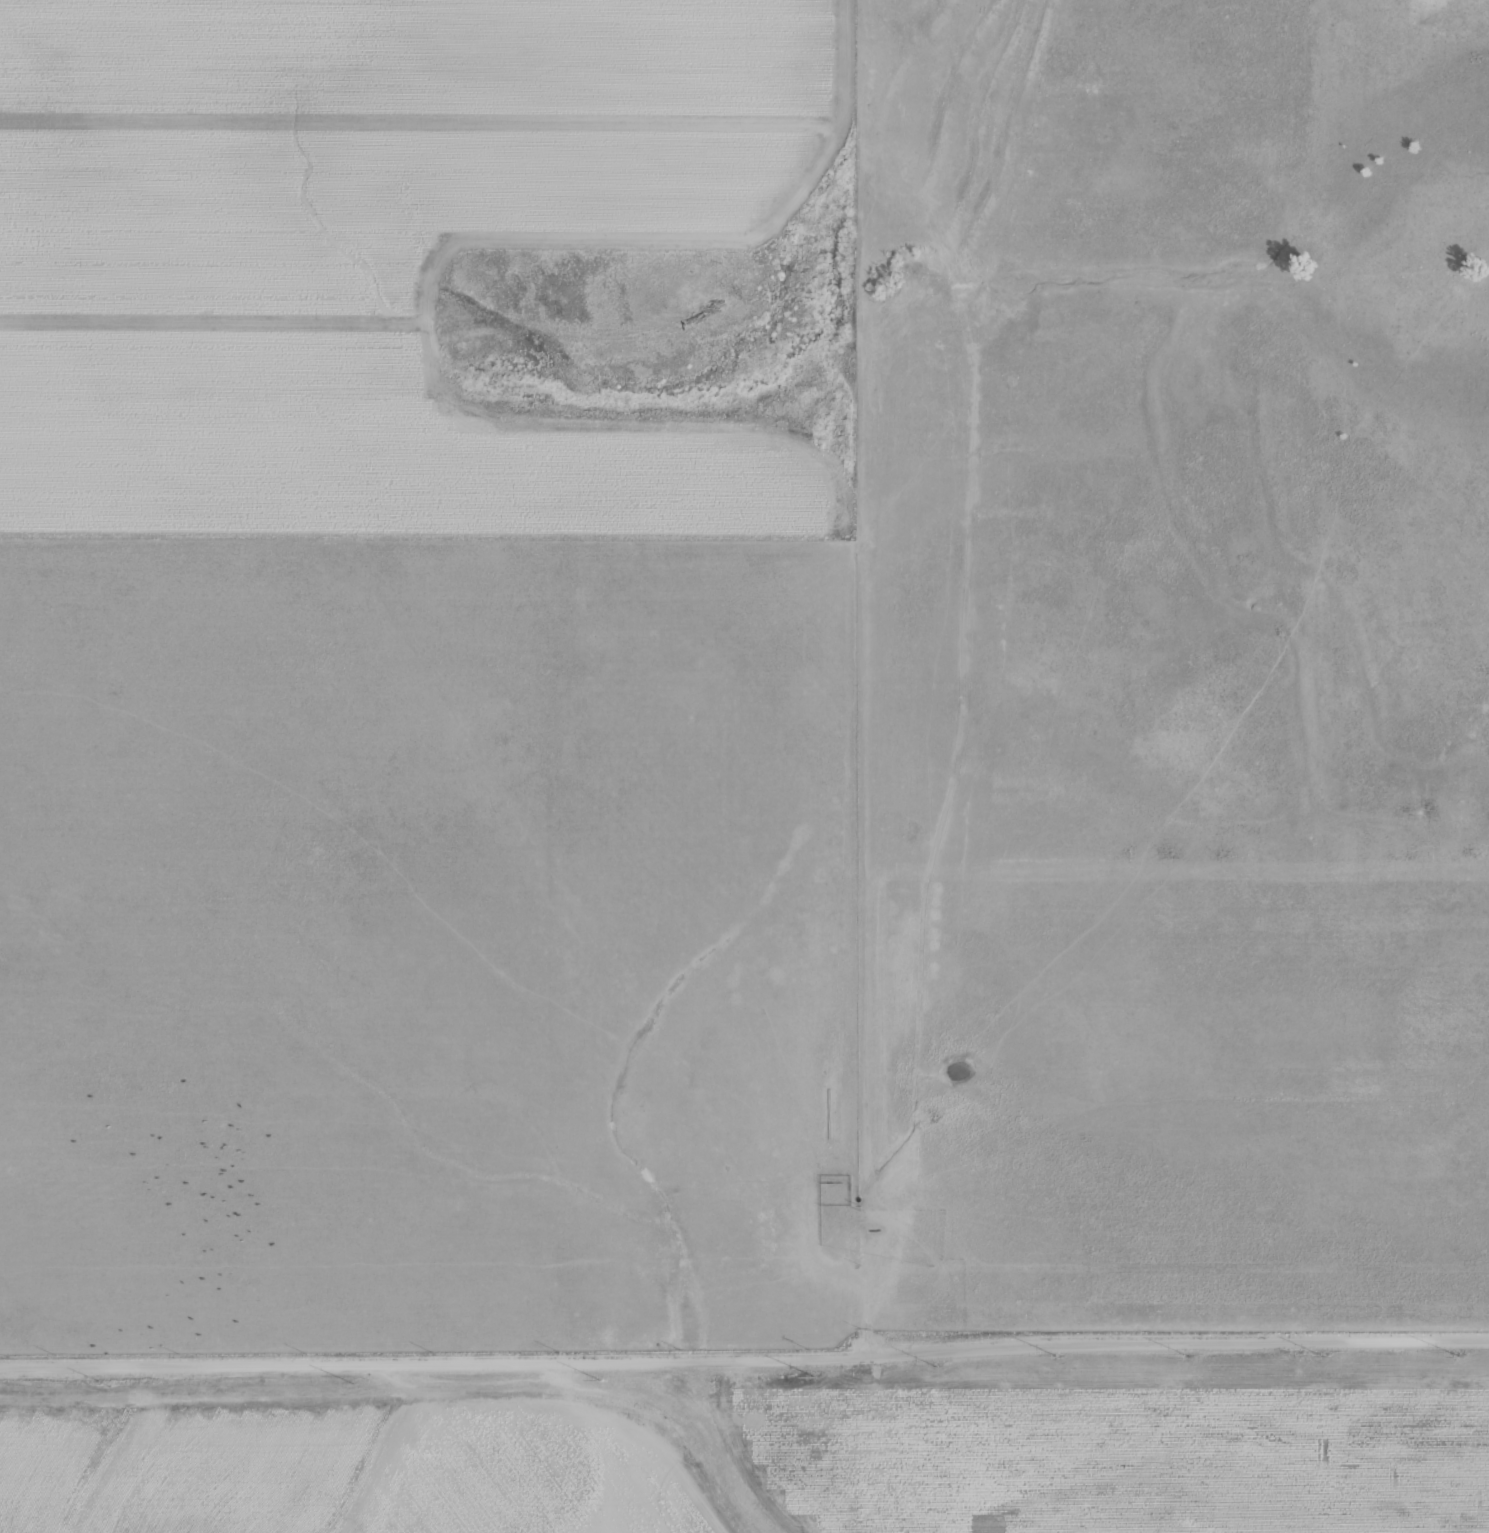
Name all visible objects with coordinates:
road: (744, 1361)

